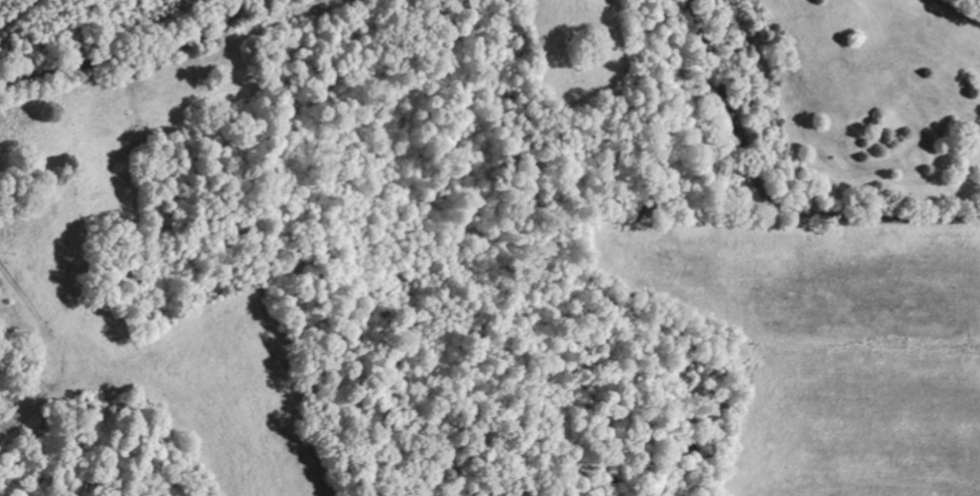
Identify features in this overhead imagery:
road: (132, 53)
road: (241, 97)
road: (766, 202)
road: (45, 437)

